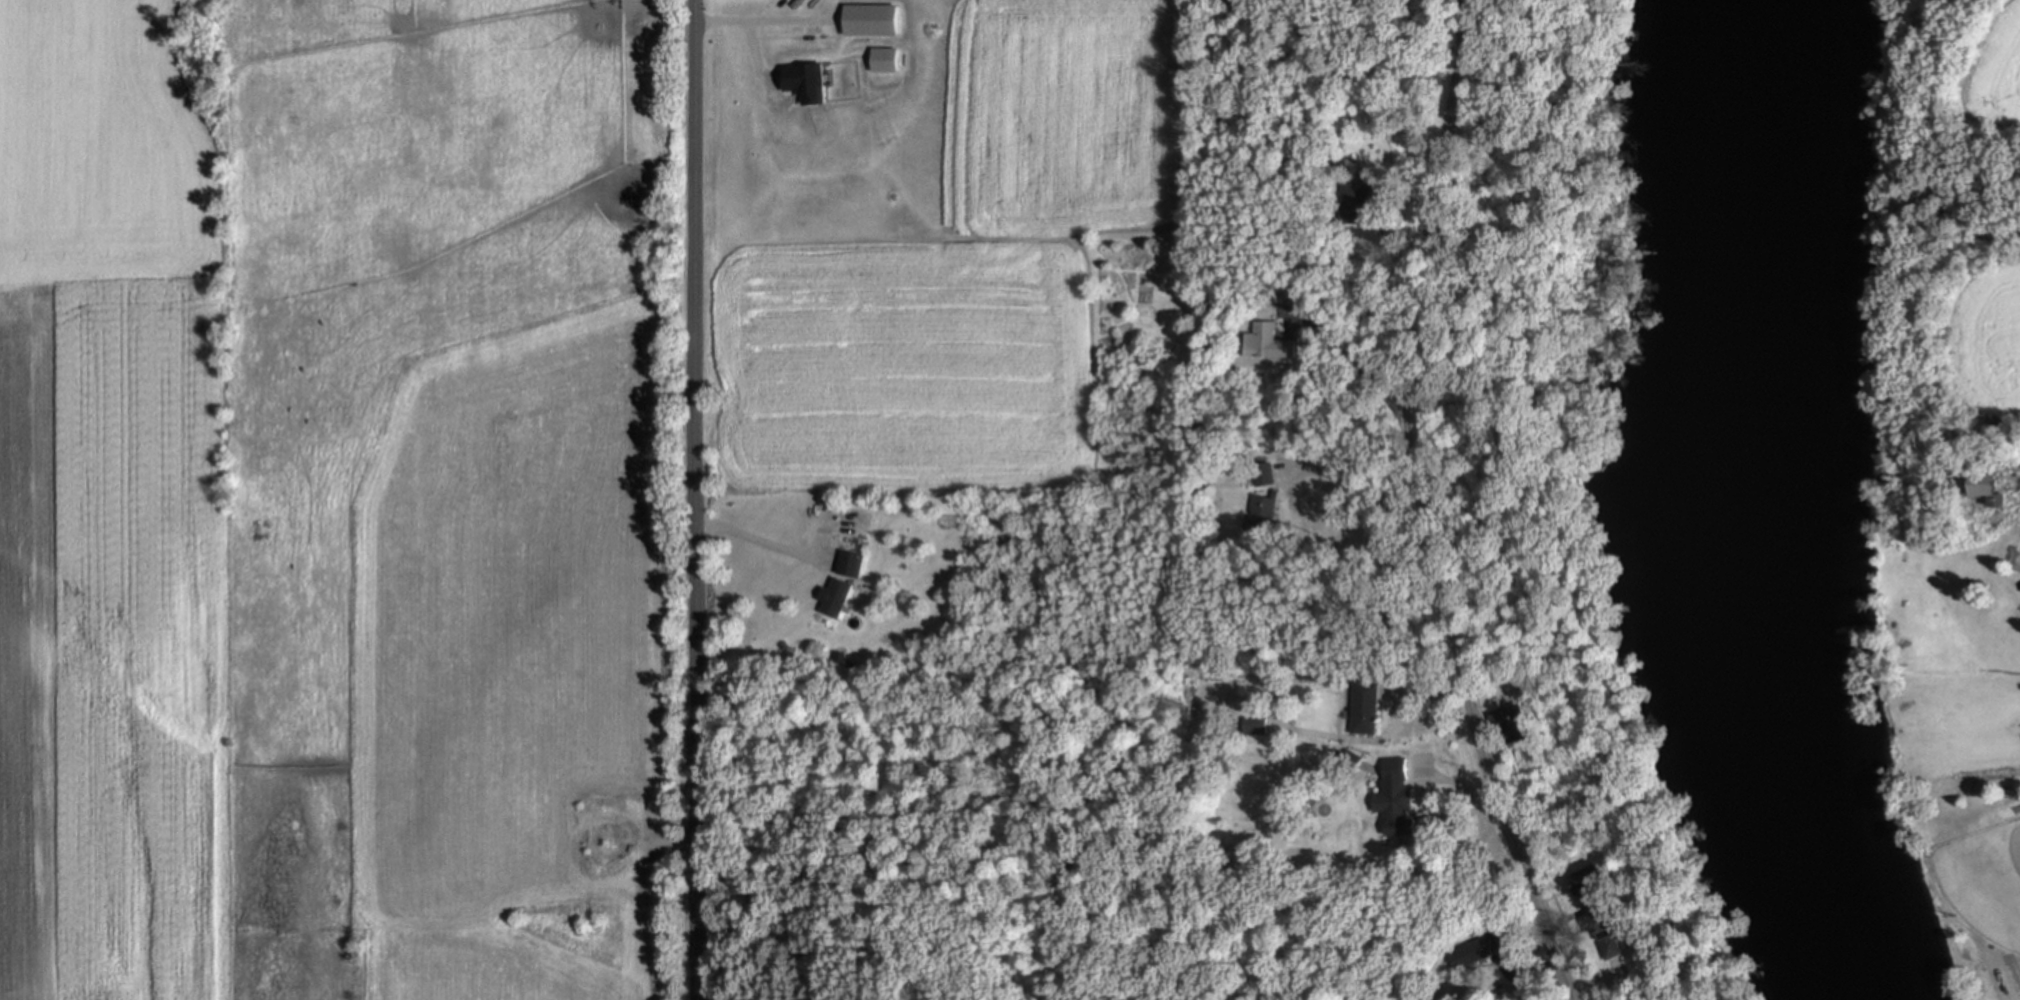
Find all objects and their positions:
road: (1471, 8)
building: (1356, 196)
road: (1391, 251)
building: (1269, 342)
road: (1347, 354)
building: (1264, 473)
road: (1361, 486)
road: (693, 500)
river: (1769, 506)
road: (1423, 507)
building: (1261, 514)
road: (762, 541)
building: (853, 563)
building: (838, 597)
building: (1367, 707)
building: (1516, 722)
building: (1256, 723)
road: (1482, 726)
road: (1385, 735)
building: (1352, 759)
road: (1459, 785)
building: (1396, 805)
park: (952, 830)
park: (1972, 876)
park: (1985, 876)
building: (1589, 883)
building: (1612, 928)
building: (1476, 948)
road: (1528, 969)
road: (2017, 969)
road: (1596, 980)

